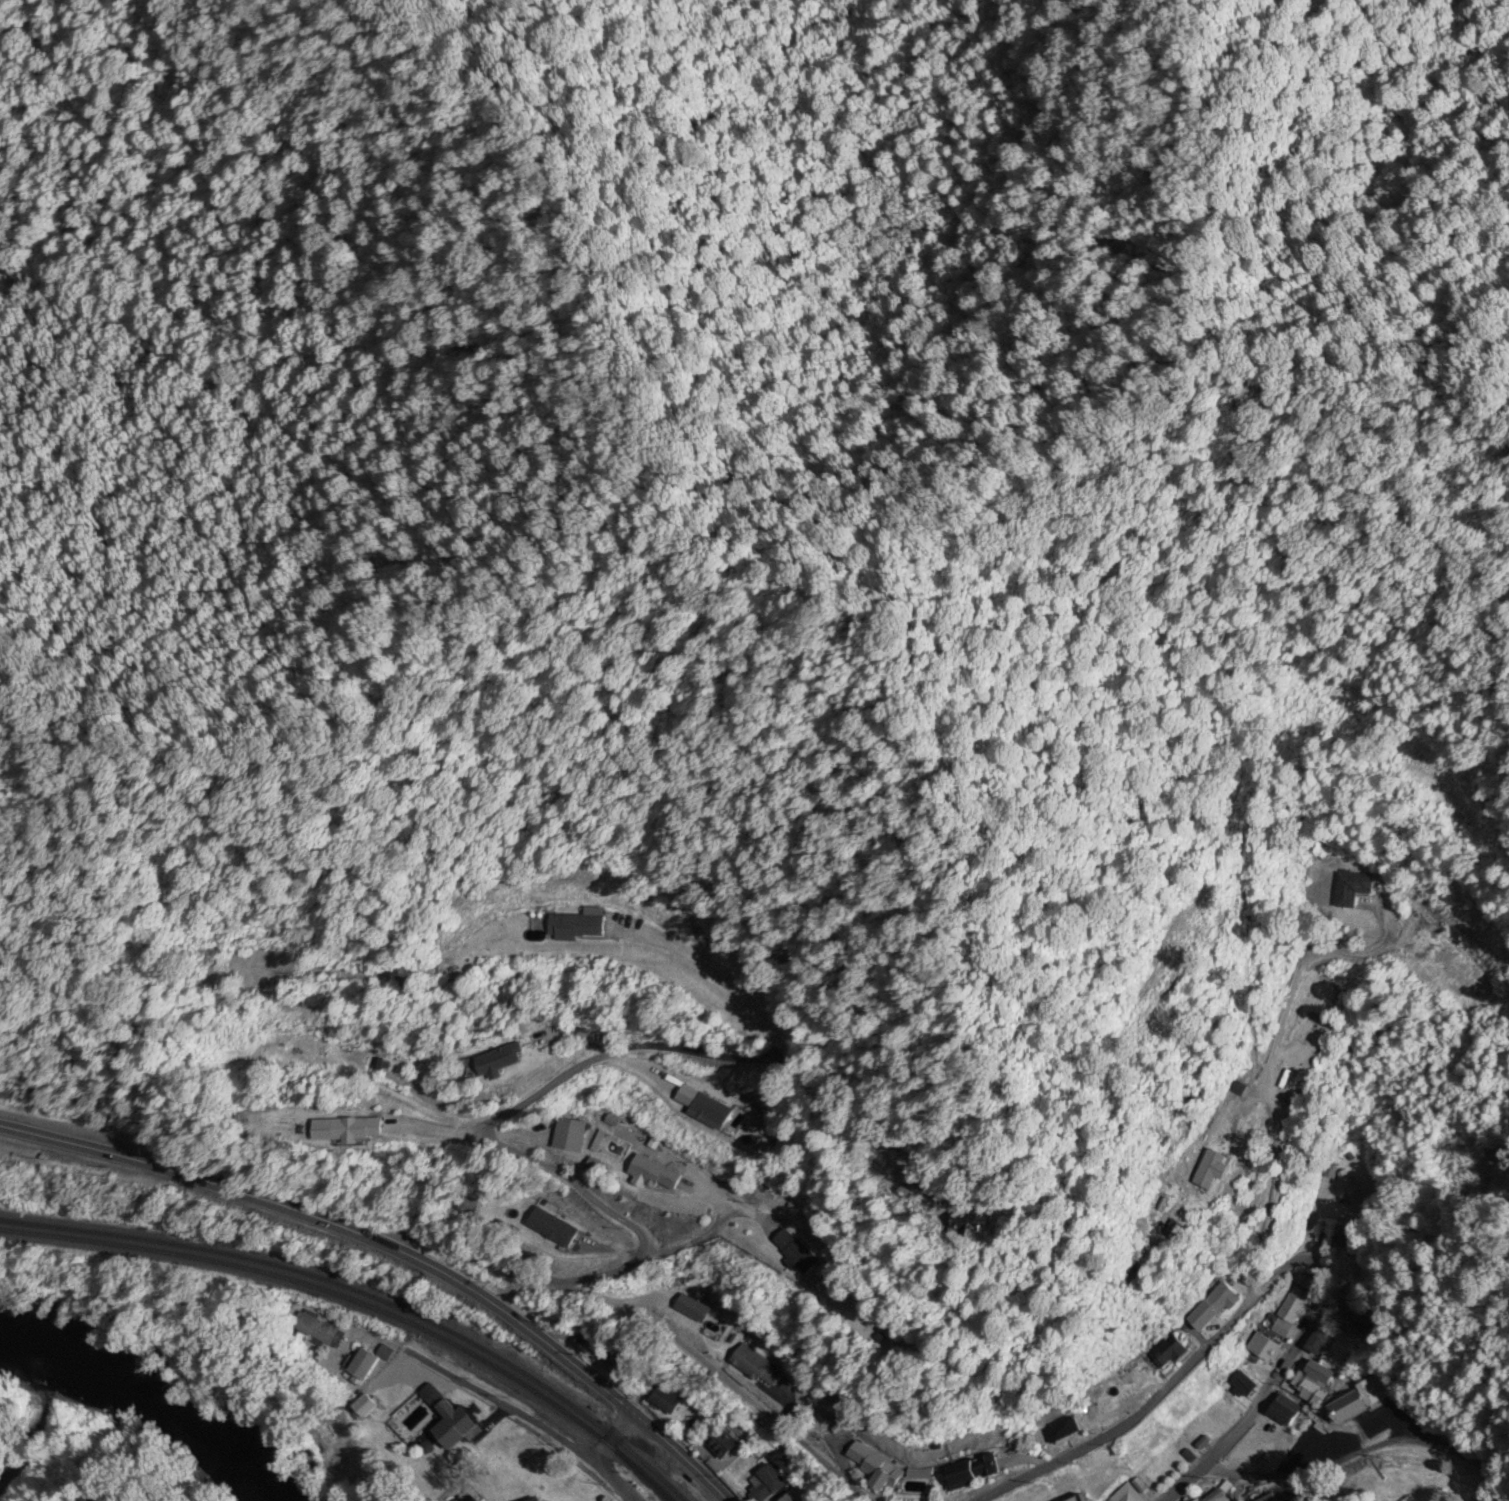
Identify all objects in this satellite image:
building: (577, 927)
building: (430, 970)
road: (609, 1053)
building: (494, 1062)
building: (374, 1065)
building: (357, 1129)
building: (570, 1136)
building: (1213, 1169)
building: (655, 1174)
road: (196, 1180)
building: (973, 1223)
building: (1176, 1230)
building: (554, 1231)
building: (1351, 1239)
building: (795, 1253)
road: (656, 1256)
road: (160, 1260)
railway: (366, 1293)
building: (1293, 1306)
building: (1215, 1307)
road: (655, 1320)
building: (1356, 1321)
building: (319, 1330)
building: (1317, 1343)
building: (1265, 1348)
building: (1167, 1351)
road: (568, 1354)
building: (367, 1364)
building: (623, 1365)
building: (1254, 1366)
building: (757, 1367)
building: (1312, 1382)
building: (1243, 1386)
road: (477, 1393)
road: (1159, 1394)
road: (1263, 1399)
building: (1360, 1399)
building: (666, 1400)
building: (363, 1410)
building: (1284, 1411)
building: (1222, 1413)
river: (163, 1418)
building: (456, 1426)
building: (1062, 1429)
building: (1196, 1436)
building: (1172, 1446)
building: (719, 1447)
road: (1364, 1450)
building: (787, 1464)
building: (869, 1466)
building: (970, 1473)
building: (766, 1484)
building: (799, 1494)
building: (1128, 1494)
building: (1216, 1497)
building: (1269, 1498)
building: (1081, 1499)
building: (539, 1500)

